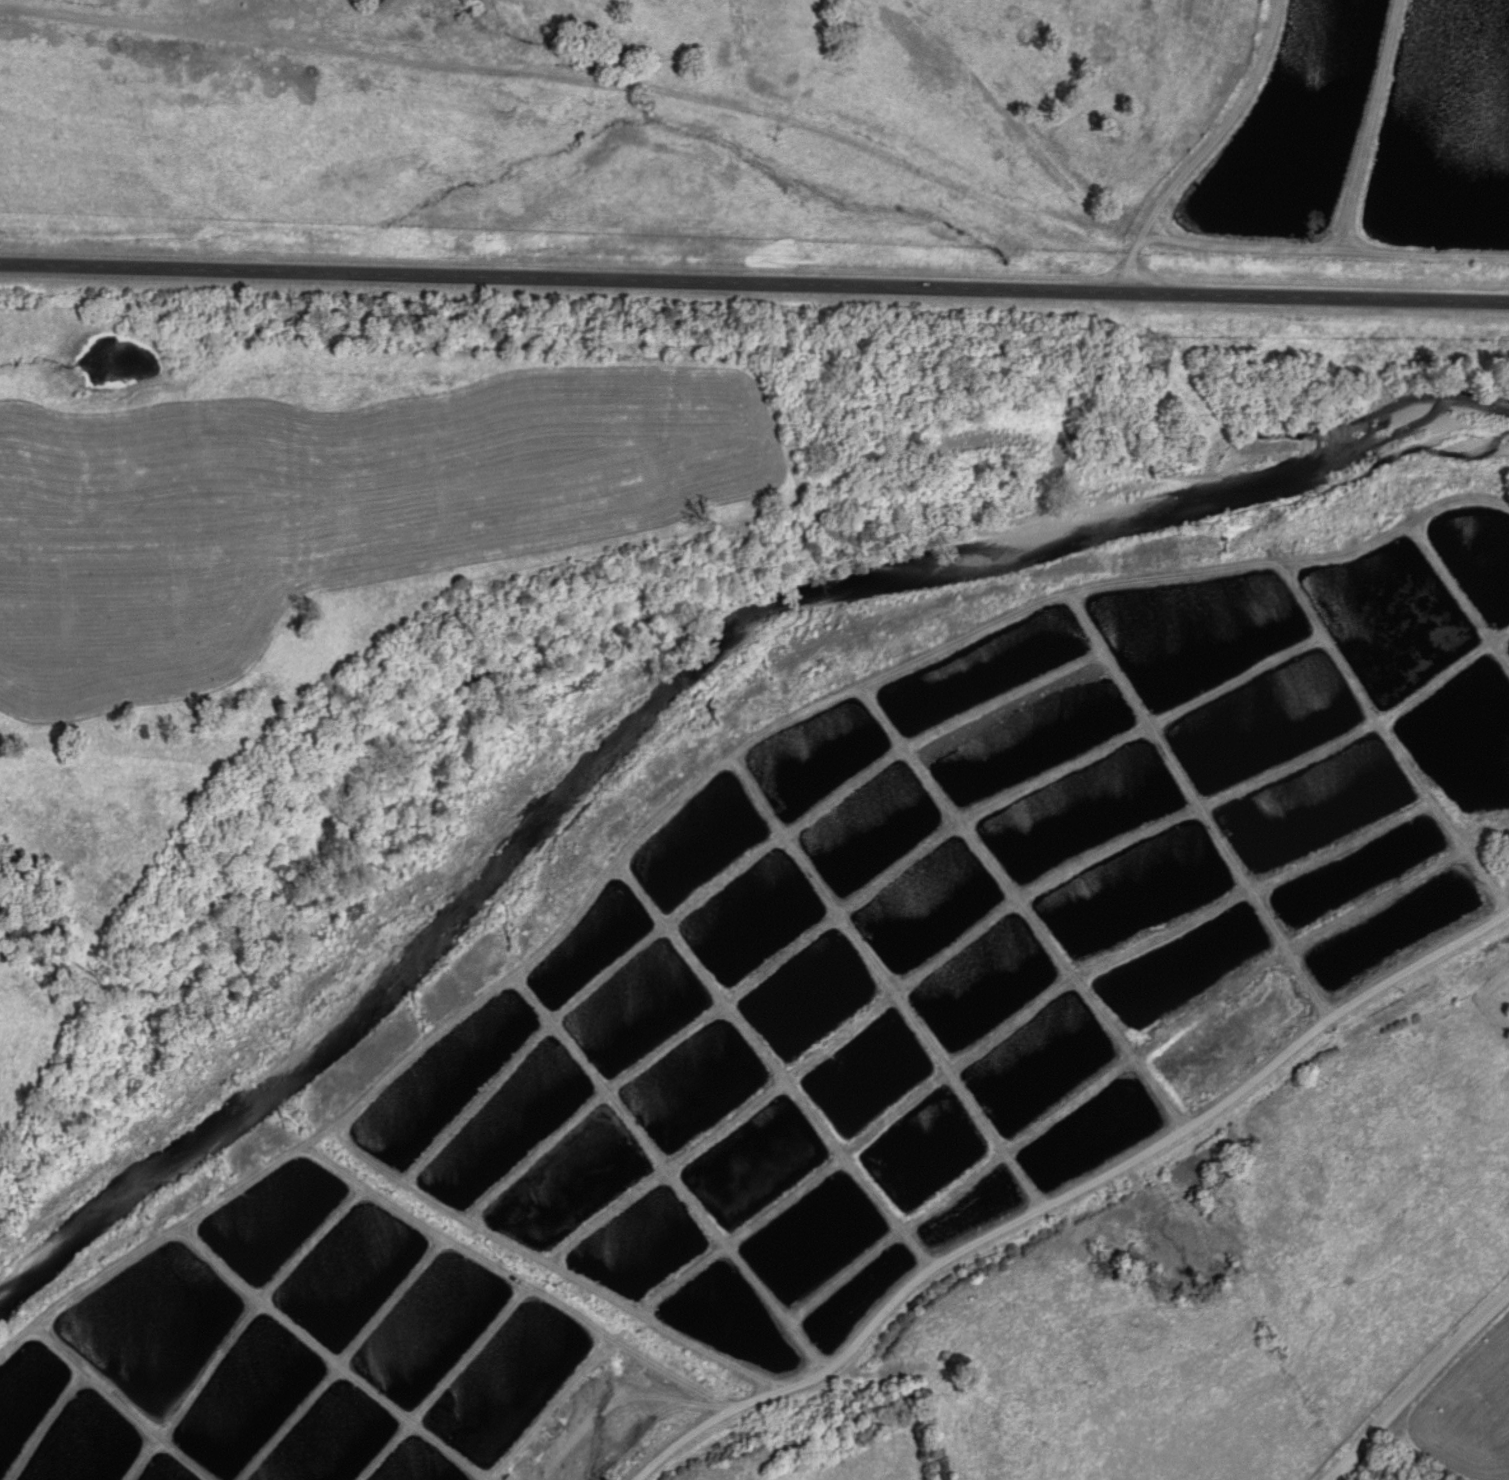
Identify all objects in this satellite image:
road: (754, 288)
road: (1068, 1196)
road: (1415, 1381)
building: (513, 1478)

